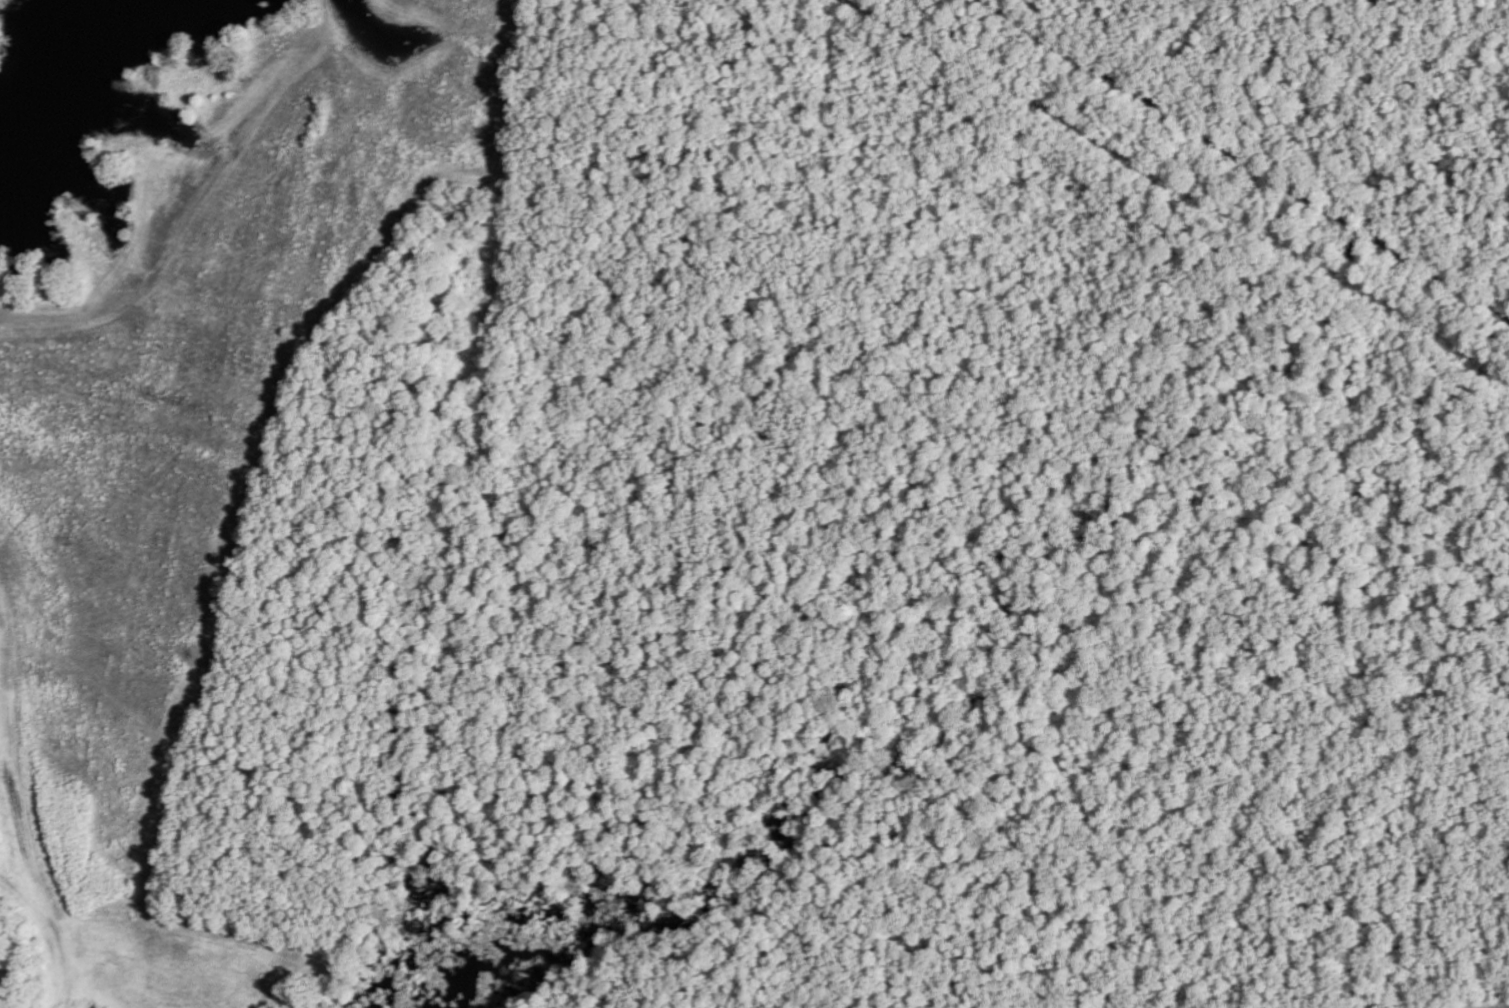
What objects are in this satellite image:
road: (1213, 185)

